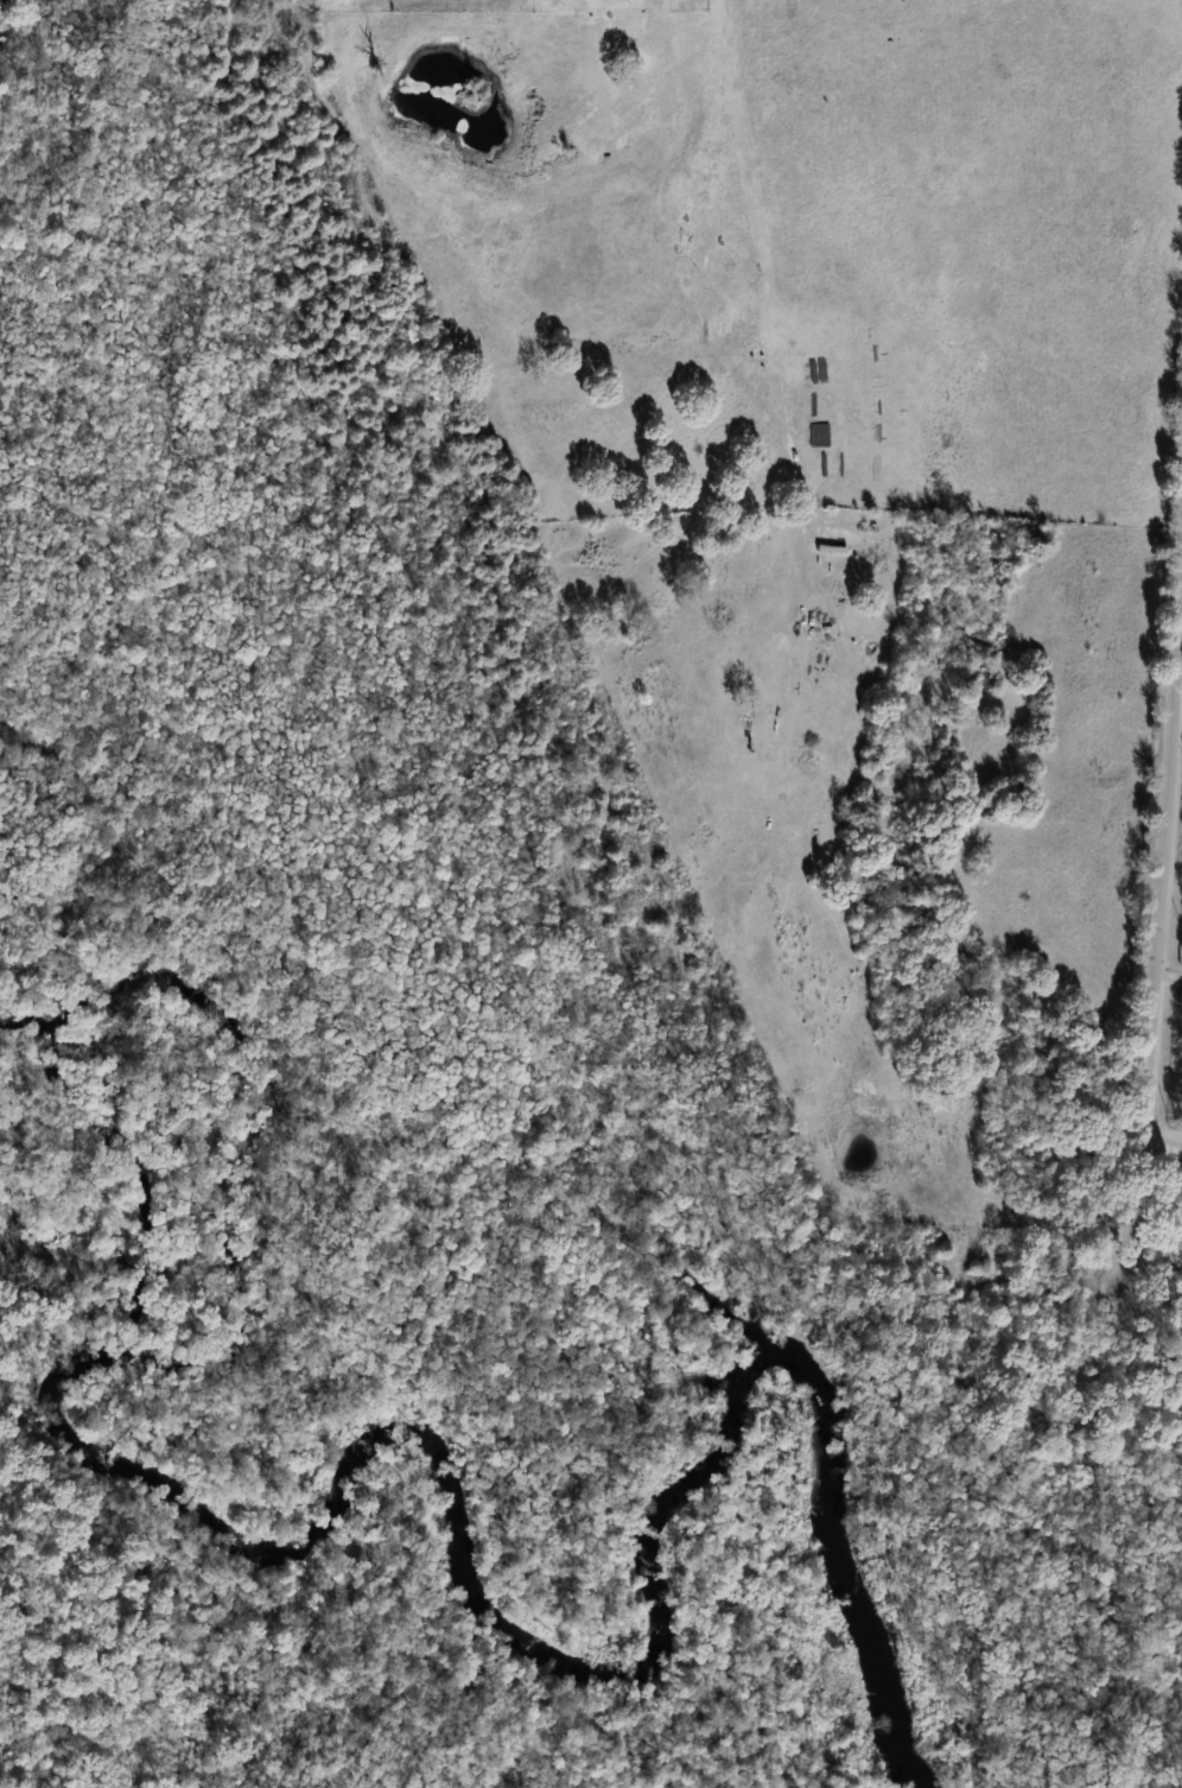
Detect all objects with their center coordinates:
road: (1176, 689)
road: (1161, 833)

